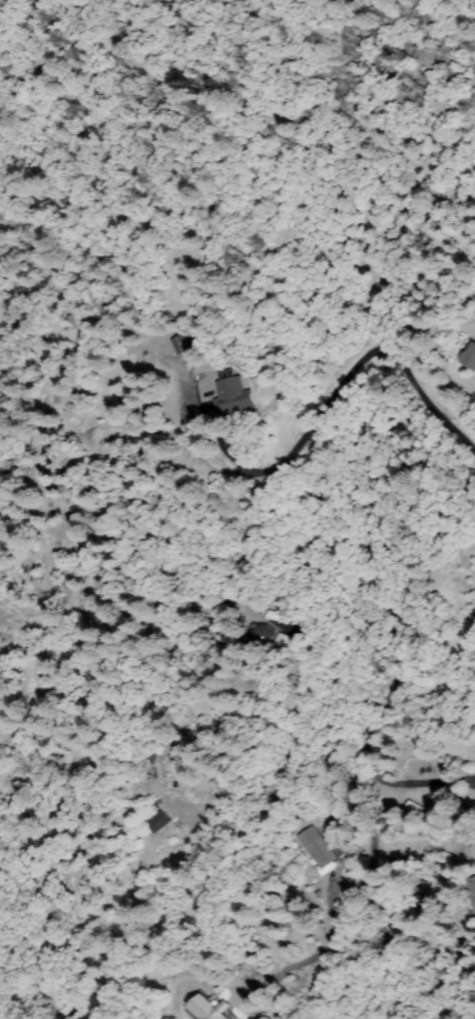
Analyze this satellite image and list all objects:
building: (180, 345)
building: (471, 356)
building: (232, 398)
building: (271, 619)
building: (260, 636)
building: (280, 642)
road: (272, 787)
building: (416, 809)
building: (161, 822)
building: (315, 848)
building: (472, 887)
building: (210, 1009)

